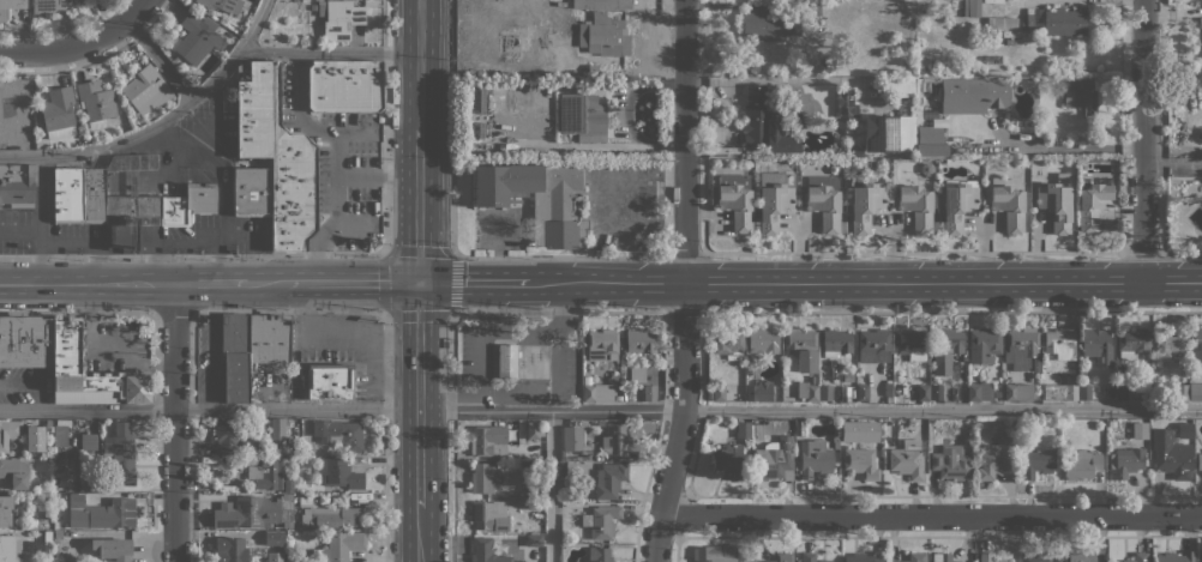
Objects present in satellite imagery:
building: (840, 0)
building: (601, 4)
building: (223, 5)
building: (10, 6)
building: (49, 6)
building: (313, 7)
building: (972, 7)
road: (136, 11)
building: (339, 18)
building: (1030, 18)
building: (1064, 20)
building: (1000, 23)
building: (769, 24)
building: (605, 35)
building: (1201, 36)
building: (196, 38)
building: (1010, 40)
road: (66, 48)
road: (326, 52)
road: (158, 59)
building: (1021, 61)
building: (829, 62)
road: (419, 65)
building: (559, 66)
building: (593, 70)
building: (343, 84)
building: (145, 89)
building: (1077, 92)
building: (973, 96)
building: (846, 102)
building: (95, 103)
building: (918, 107)
building: (58, 111)
building: (582, 116)
building: (122, 119)
road: (158, 121)
building: (764, 122)
building: (888, 133)
building: (89, 138)
building: (1074, 140)
road: (1143, 140)
building: (930, 141)
road: (1070, 147)
building: (464, 150)
building: (854, 150)
building: (276, 153)
road: (336, 156)
road: (1173, 164)
road: (377, 175)
building: (1024, 175)
building: (17, 185)
road: (224, 185)
building: (251, 191)
building: (104, 194)
building: (539, 199)
building: (737, 200)
building: (773, 201)
building: (824, 201)
building: (1056, 203)
building: (956, 204)
building: (187, 205)
road: (419, 205)
building: (865, 205)
building: (1092, 205)
building: (1009, 206)
building: (919, 207)
road: (451, 242)
road: (498, 247)
road: (384, 252)
road: (317, 253)
road: (353, 280)
traffic signals: (419, 280)
road: (474, 280)
road: (266, 282)
road: (684, 282)
road: (865, 282)
road: (85, 283)
road: (209, 283)
road: (485, 303)
road: (174, 310)
road: (289, 310)
road: (952, 310)
road: (77, 312)
road: (558, 312)
road: (684, 312)
building: (1170, 339)
building: (25, 340)
building: (763, 340)
building: (950, 340)
building: (639, 342)
building: (836, 342)
road: (110, 343)
building: (728, 343)
building: (800, 343)
building: (912, 343)
building: (1132, 343)
building: (602, 344)
building: (984, 344)
building: (875, 345)
building: (1020, 346)
building: (1098, 346)
building: (250, 348)
building: (1196, 348)
road: (385, 359)
road: (419, 359)
road: (483, 359)
building: (507, 361)
building: (1035, 362)
building: (1070, 362)
building: (962, 368)
building: (89, 371)
building: (637, 374)
building: (848, 377)
building: (329, 381)
building: (809, 389)
building: (888, 389)
building: (595, 391)
building: (758, 391)
building: (979, 391)
building: (1016, 391)
building: (1084, 391)
building: (1195, 391)
building: (649, 392)
building: (825, 392)
building: (861, 392)
building: (921, 392)
building: (936, 392)
building: (1122, 392)
building: (1182, 392)
building: (716, 393)
building: (997, 393)
road: (543, 395)
building: (630, 397)
building: (618, 398)
road: (210, 409)
road: (810, 409)
road: (174, 422)
building: (44, 423)
building: (1112, 423)
building: (277, 428)
building: (743, 429)
building: (757, 429)
building: (1185, 429)
building: (534, 430)
building: (1140, 430)
building: (60, 431)
building: (8, 433)
building: (339, 434)
building: (576, 434)
building: (226, 435)
road: (452, 436)
building: (88, 441)
building: (488, 441)
building: (619, 441)
building: (835, 441)
building: (281, 448)
building: (306, 448)
building: (1171, 454)
building: (118, 457)
building: (813, 458)
building: (994, 458)
building: (727, 459)
building: (774, 459)
building: (1036, 461)
building: (1126, 461)
building: (1200, 461)
building: (860, 463)
building: (906, 463)
building: (950, 463)
building: (1082, 464)
building: (572, 469)
building: (14, 472)
building: (338, 473)
road: (420, 473)
building: (271, 475)
building: (482, 477)
building: (609, 479)
road: (552, 485)
building: (534, 489)
building: (534, 503)
building: (7, 510)
building: (101, 512)
building: (251, 512)
building: (489, 515)
road: (930, 515)
building: (332, 516)
building: (603, 521)
road: (420, 534)
building: (48, 536)
building: (271, 538)
building: (575, 539)
building: (534, 540)
building: (339, 546)
building: (10, 548)
building: (113, 549)
building: (232, 550)
building: (486, 551)
building: (599, 554)
building: (714, 554)
building: (1040, 556)
building: (745, 557)
building: (782, 557)
building: (807, 557)
building: (864, 557)
building: (915, 557)
building: (942, 557)
building: (987, 557)
building: (1076, 557)
building: (1137, 557)
building: (1174, 557)
building: (1201, 557)
building: (825, 561)

